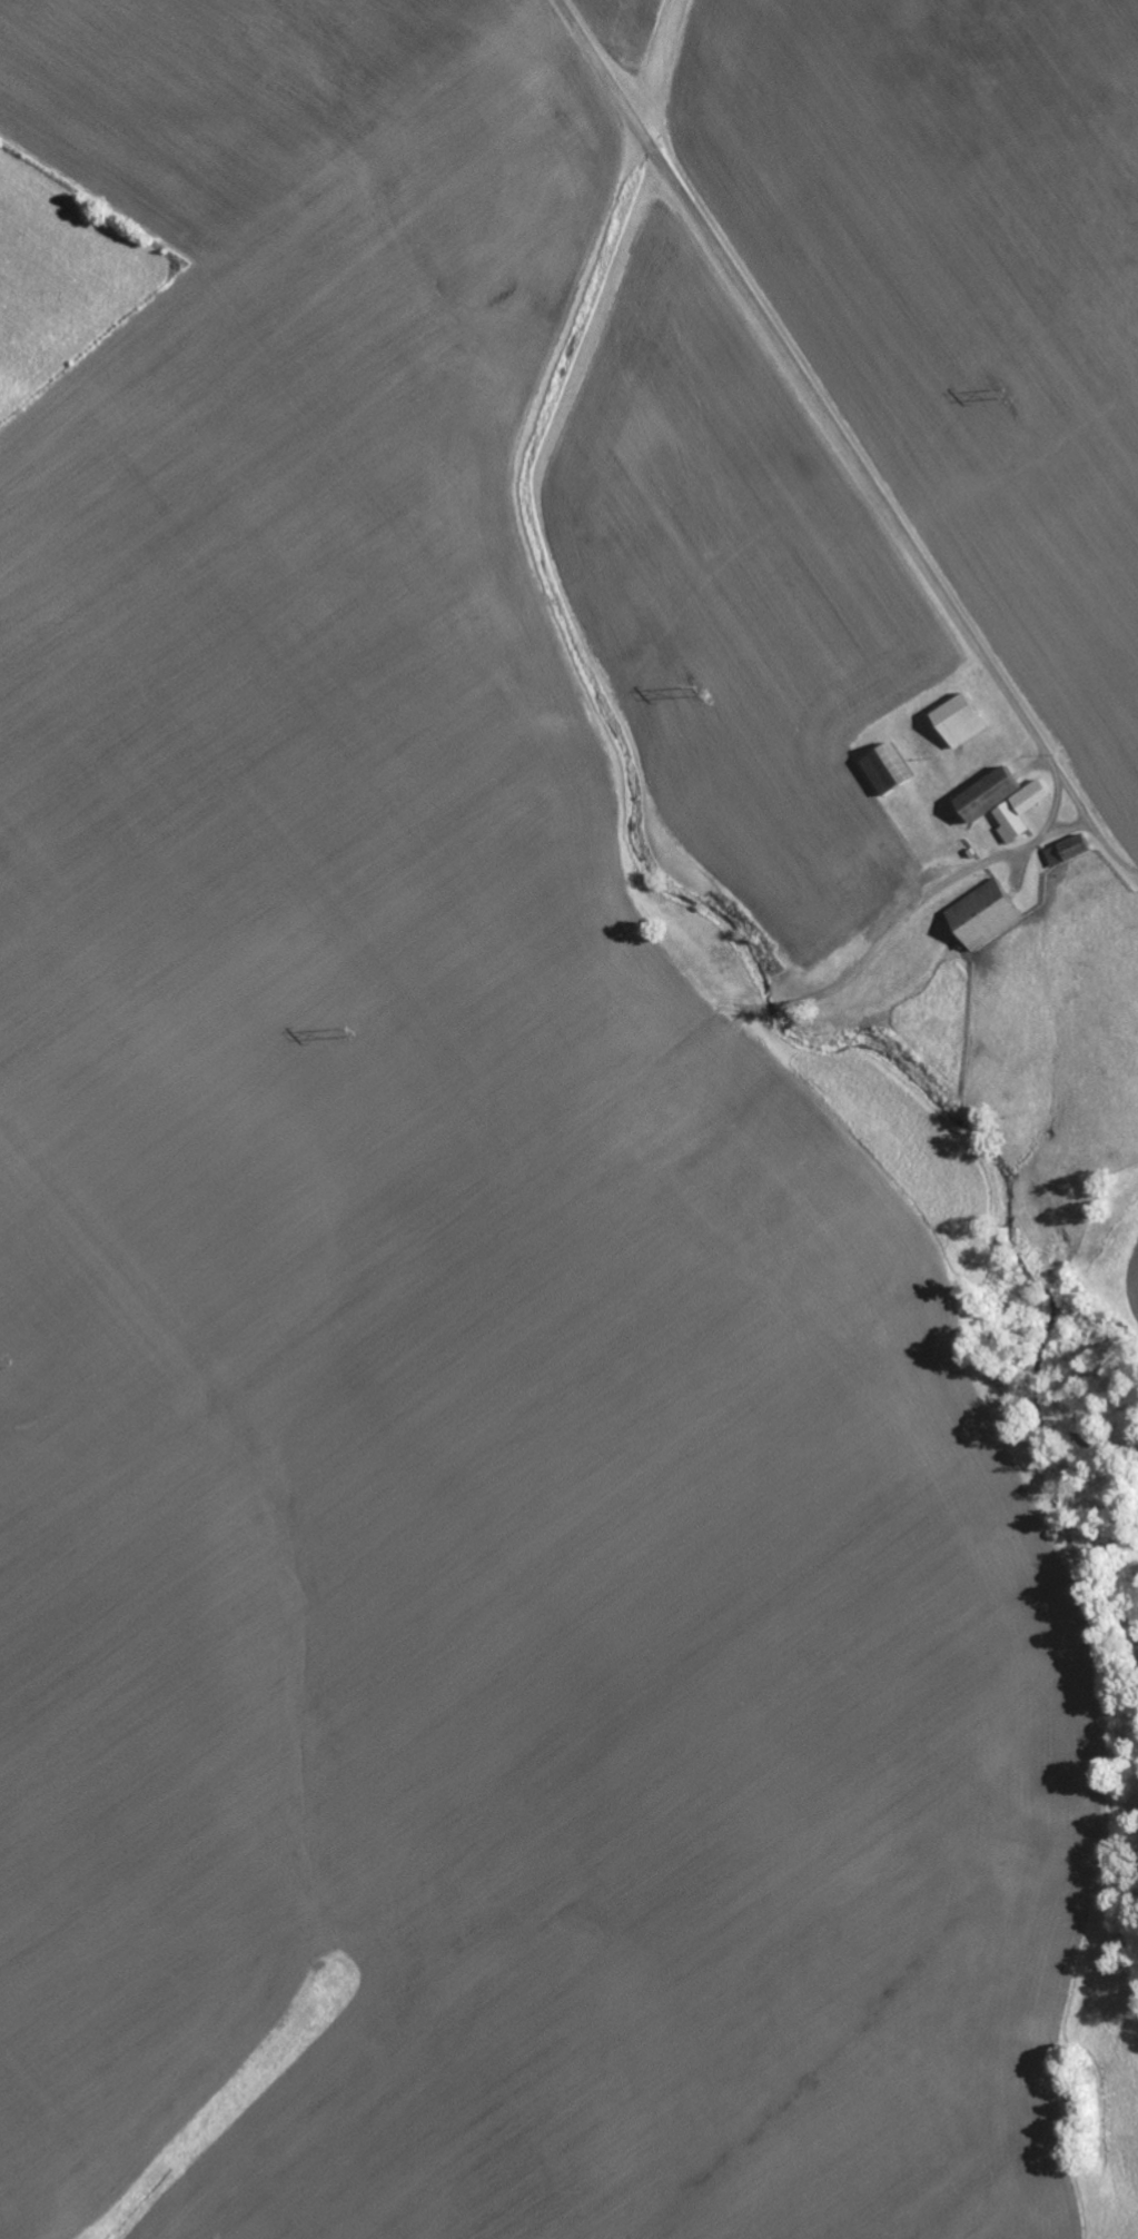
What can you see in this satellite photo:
road: (807, 386)
power tower: (1000, 396)
power tower: (695, 687)
building: (958, 720)
building: (885, 767)
building: (1001, 802)
building: (1066, 849)
building: (982, 913)
power tower: (342, 1032)
power tower: (6, 1361)

